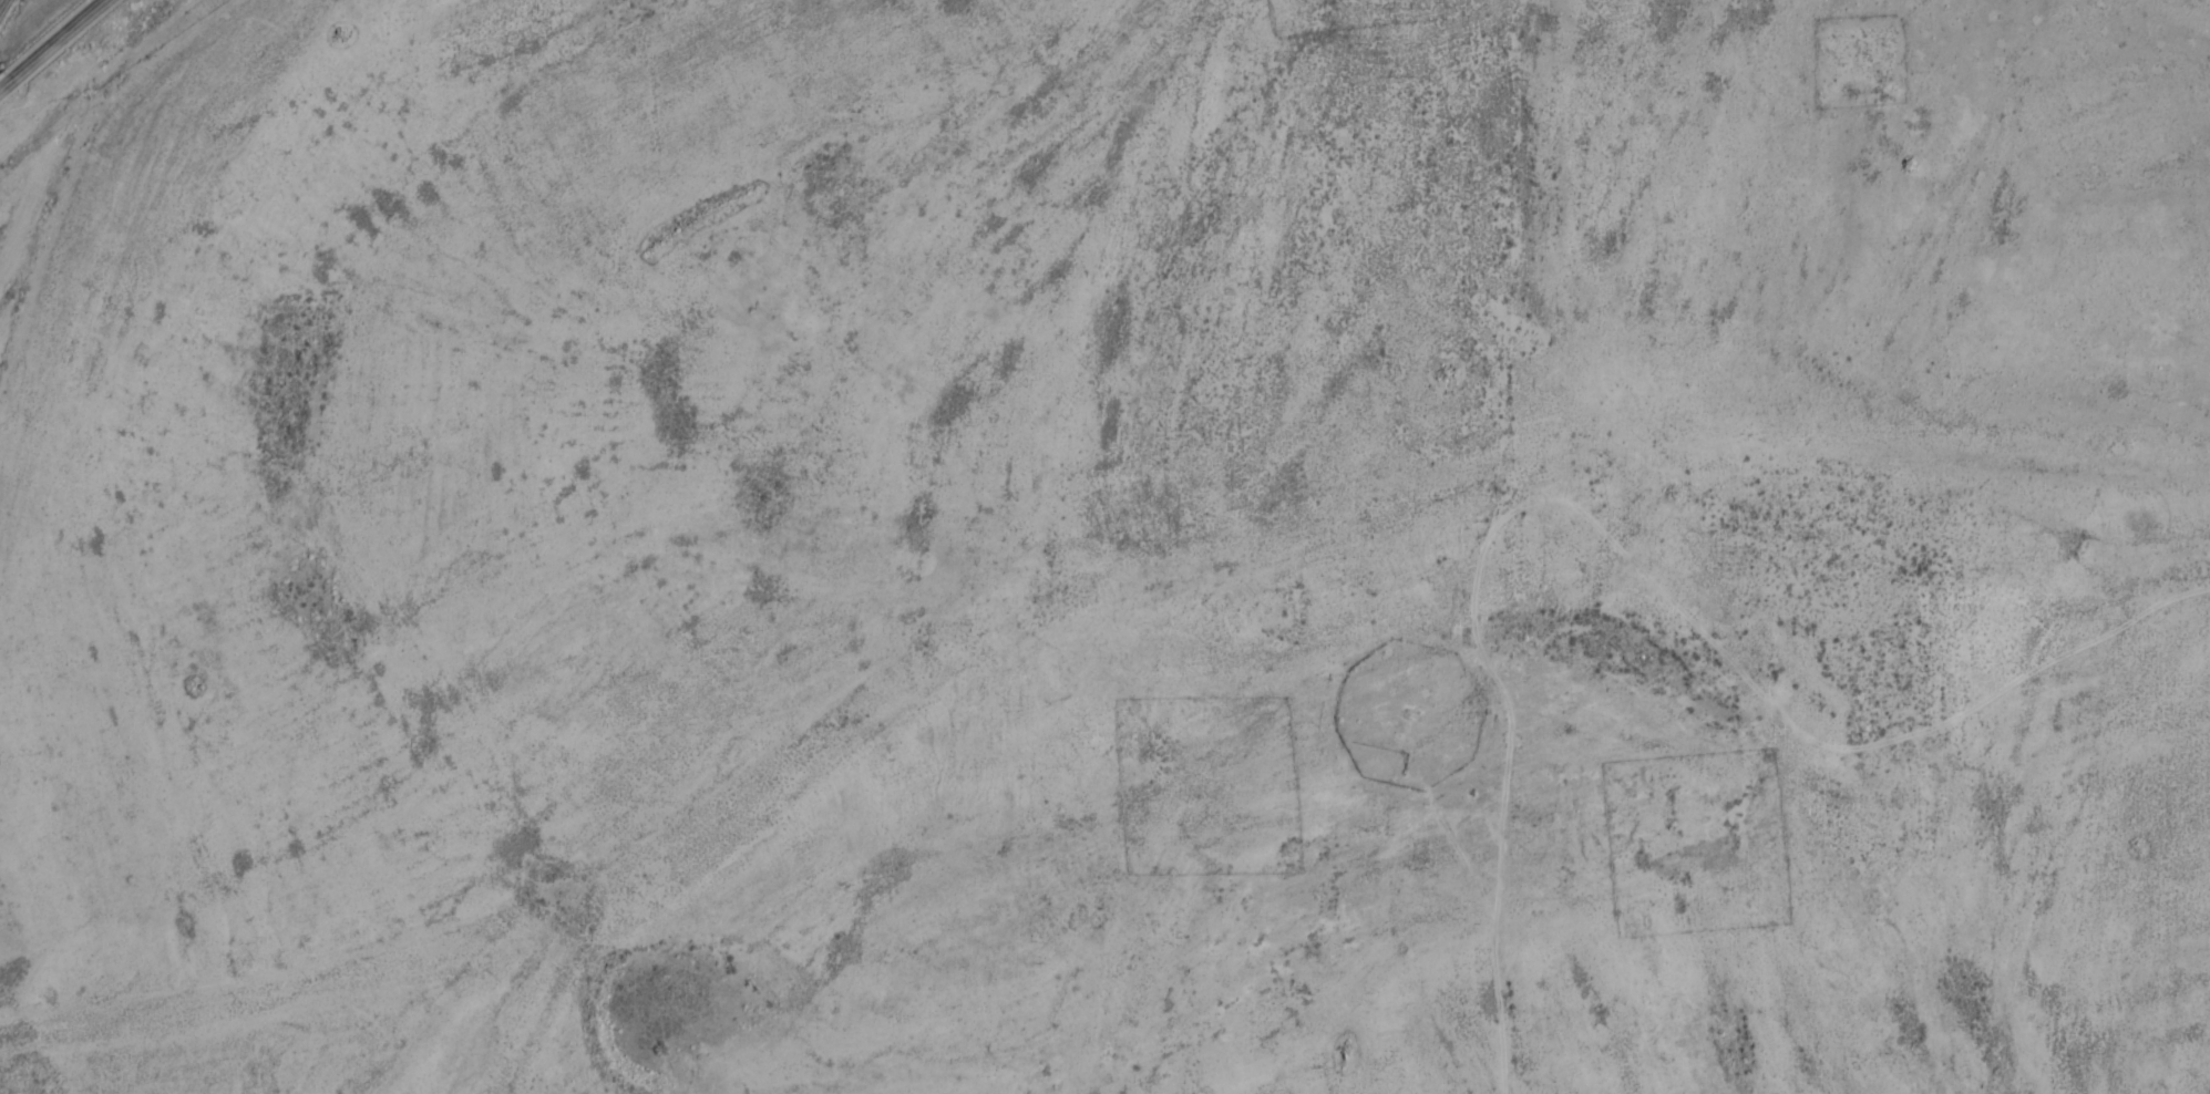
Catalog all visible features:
road: (0, 1)
road: (55, 40)
road: (4, 84)
road: (38, 280)
road: (1510, 722)
road: (1857, 746)

